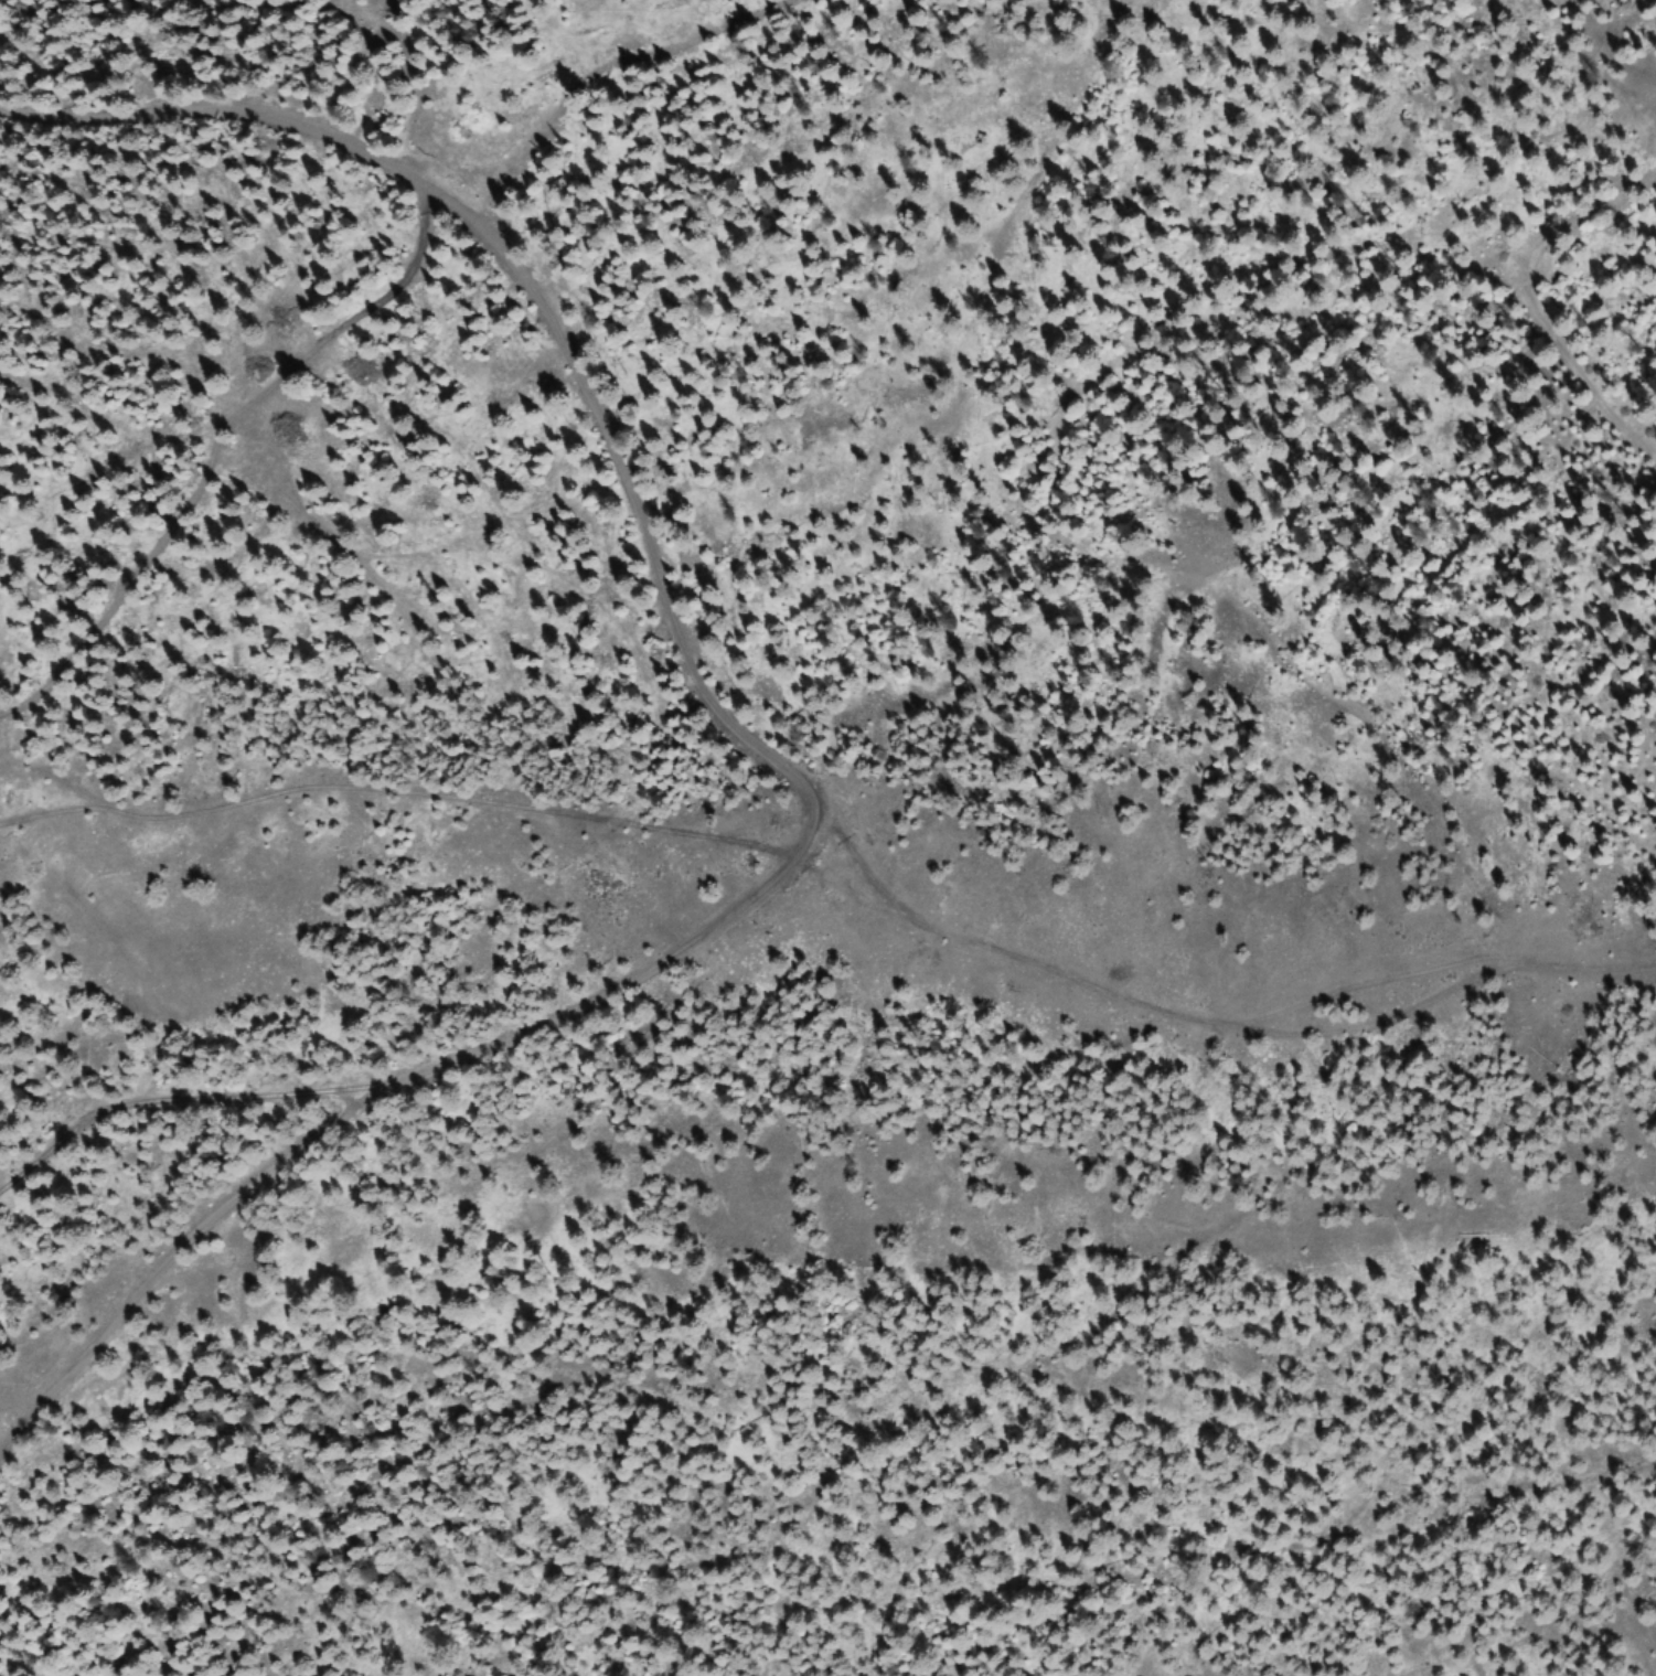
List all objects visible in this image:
ski resort: (299, 18)
road: (266, 249)
road: (1641, 339)
road: (258, 566)
road: (685, 933)
road: (865, 944)

